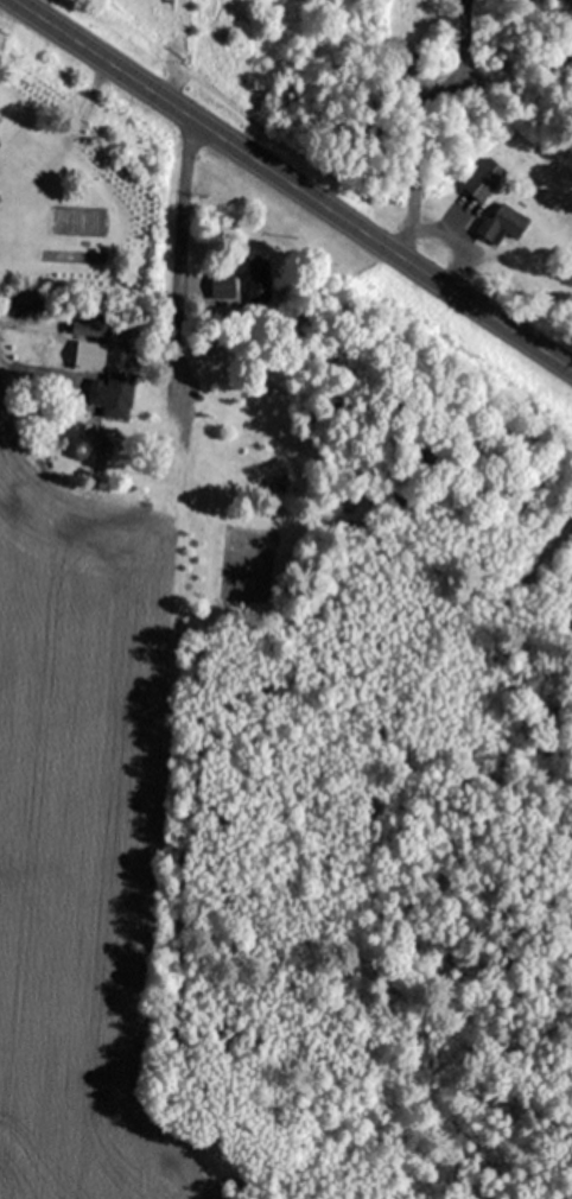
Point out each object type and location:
building: (483, 177)
road: (293, 183)
building: (501, 222)
road: (178, 262)
building: (258, 278)
building: (222, 284)
building: (90, 324)
building: (89, 354)
building: (114, 394)
crop: (80, 830)

